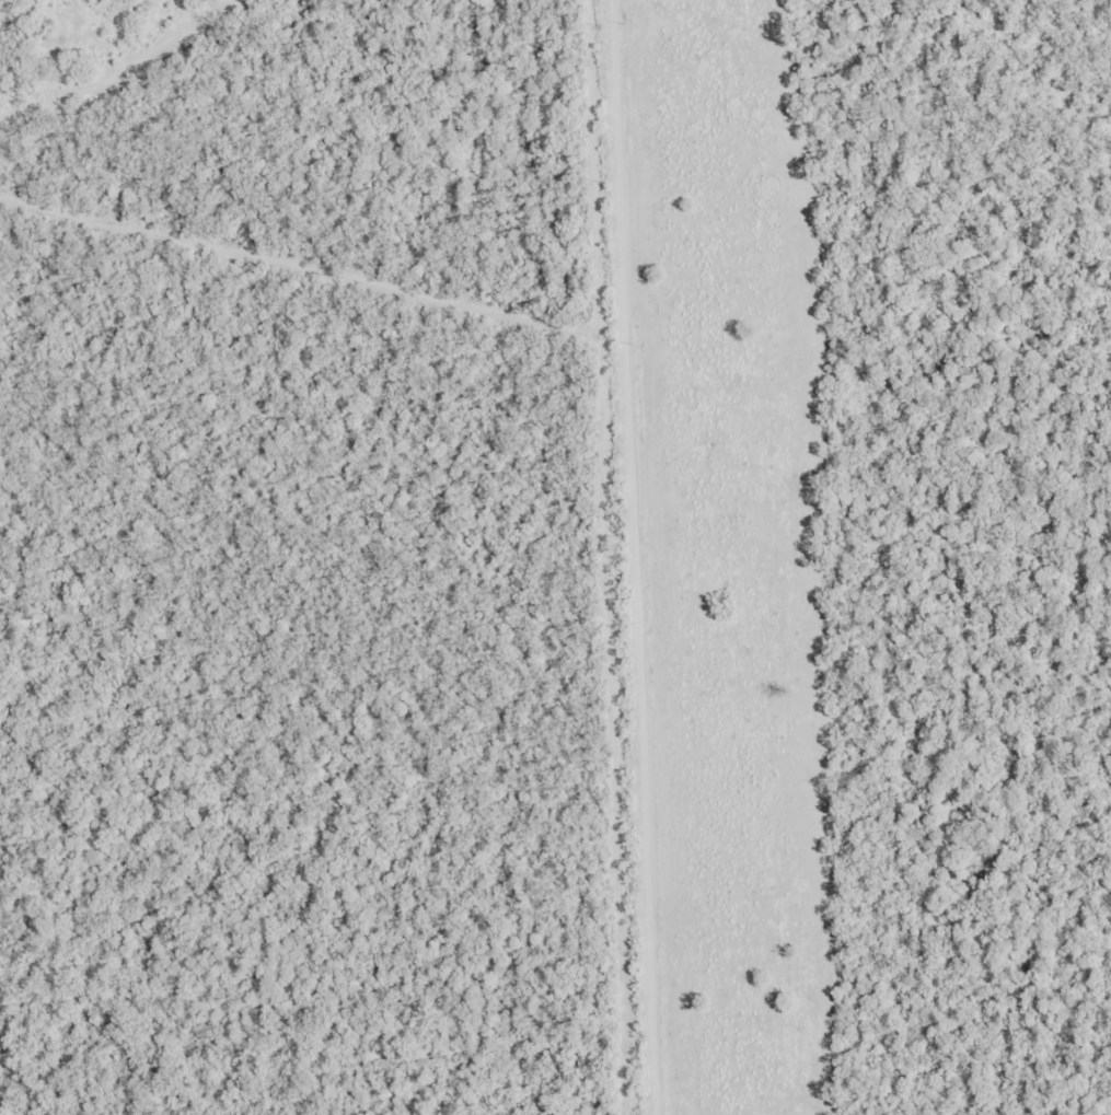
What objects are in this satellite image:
road: (630, 557)

